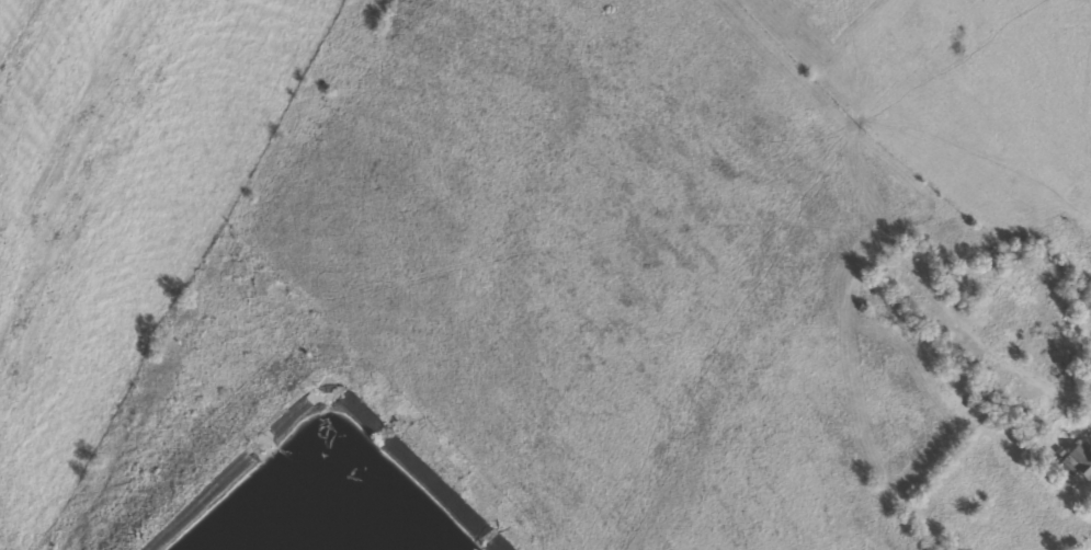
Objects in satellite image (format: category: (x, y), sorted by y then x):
building: (1005, 253)
building: (1075, 463)

